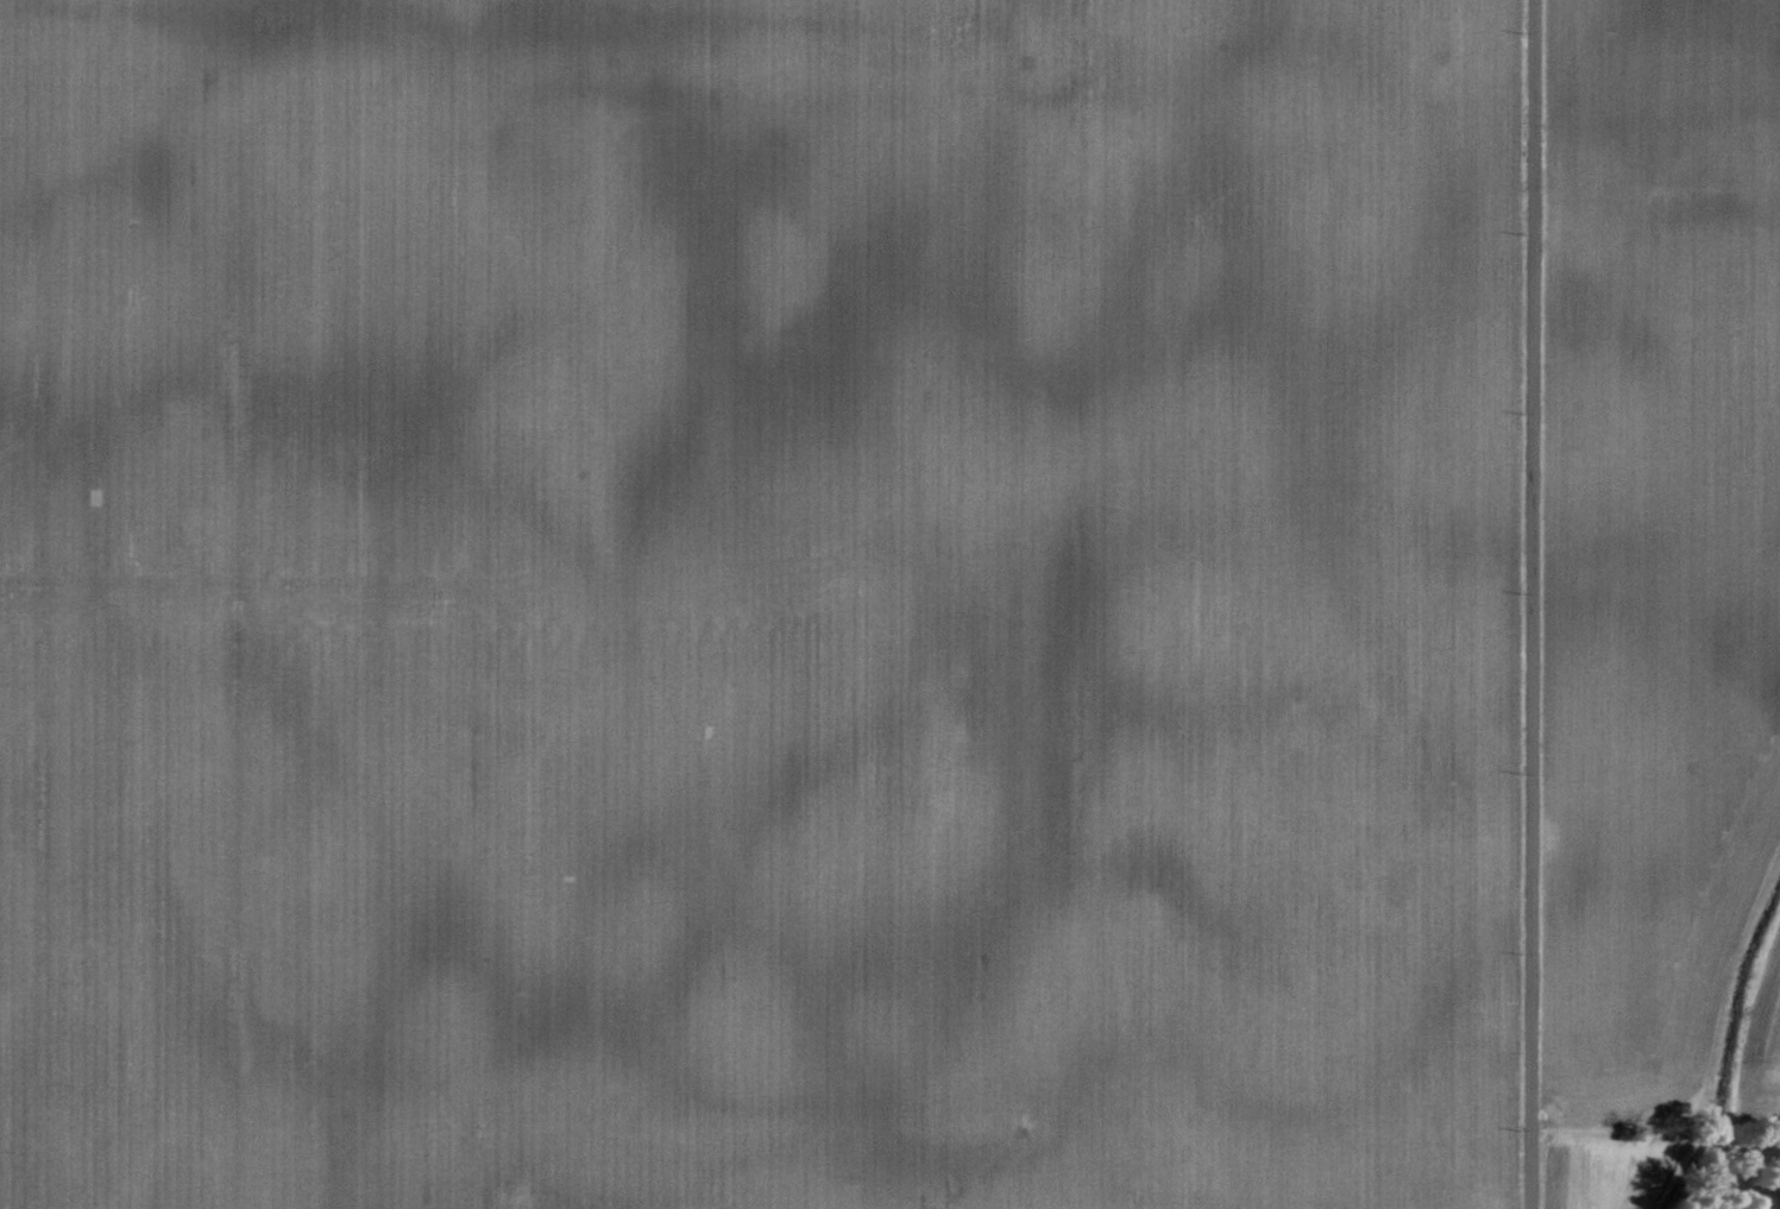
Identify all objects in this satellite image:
road: (1531, 604)

